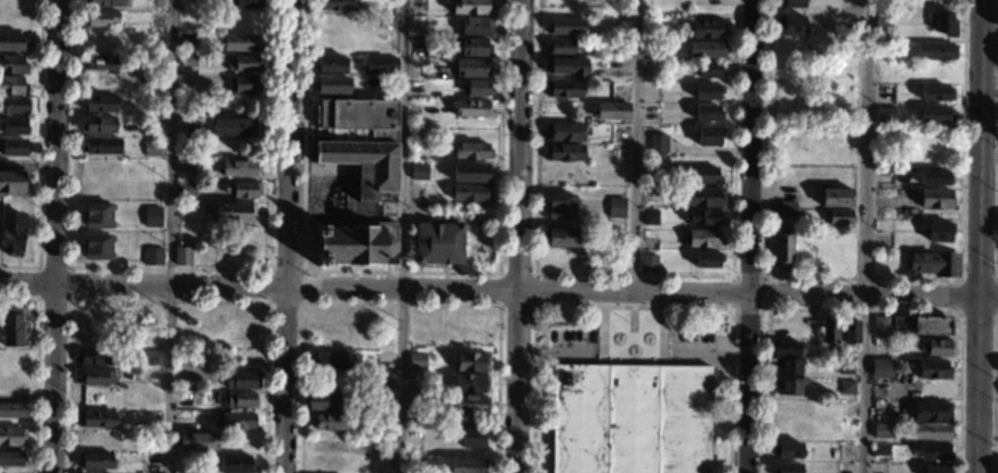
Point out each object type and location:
building: (795, 2)
building: (103, 3)
building: (244, 4)
building: (335, 4)
building: (470, 7)
building: (882, 18)
building: (99, 19)
building: (946, 20)
building: (794, 24)
building: (476, 26)
building: (565, 26)
building: (705, 28)
building: (187, 40)
building: (13, 43)
building: (240, 43)
building: (562, 46)
building: (474, 47)
building: (705, 49)
building: (935, 51)
building: (187, 60)
building: (101, 61)
building: (242, 63)
building: (12, 65)
building: (331, 65)
building: (380, 65)
building: (566, 66)
building: (470, 68)
building: (710, 70)
road: (864, 70)
building: (244, 84)
building: (331, 85)
building: (12, 86)
building: (476, 88)
building: (563, 89)
building: (708, 90)
building: (938, 91)
building: (100, 104)
building: (13, 106)
building: (471, 108)
building: (610, 111)
building: (708, 111)
building: (937, 112)
building: (885, 114)
building: (98, 125)
building: (13, 126)
building: (233, 127)
building: (192, 129)
building: (563, 131)
building: (710, 134)
road: (994, 140)
road: (287, 143)
building: (658, 143)
building: (362, 144)
road: (635, 145)
building: (100, 146)
road: (752, 146)
building: (12, 147)
building: (150, 147)
road: (982, 149)
road: (39, 151)
building: (471, 151)
building: (563, 152)
road: (27, 162)
building: (239, 169)
building: (418, 170)
building: (471, 174)
building: (650, 174)
building: (698, 175)
building: (935, 176)
building: (13, 182)
building: (242, 189)
building: (187, 190)
building: (470, 193)
building: (704, 197)
building: (835, 198)
building: (935, 198)
building: (559, 207)
building: (615, 208)
building: (787, 208)
building: (234, 213)
building: (97, 216)
building: (837, 216)
building: (151, 217)
building: (649, 217)
building: (701, 217)
road: (862, 217)
building: (940, 230)
building: (11, 235)
road: (52, 236)
road: (170, 236)
road: (403, 236)
road: (519, 236)
building: (560, 238)
building: (703, 239)
building: (356, 244)
building: (438, 244)
building: (96, 247)
building: (782, 250)
building: (183, 256)
building: (151, 257)
building: (707, 258)
building: (648, 261)
building: (935, 264)
road: (168, 266)
road: (70, 267)
road: (301, 268)
road: (402, 269)
road: (534, 272)
road: (634, 274)
road: (765, 277)
road: (864, 278)
road: (977, 278)
road: (143, 285)
road: (518, 290)
road: (995, 294)
road: (961, 295)
road: (864, 296)
road: (988, 298)
road: (166, 299)
road: (398, 302)
road: (632, 305)
road: (861, 308)
road: (977, 310)
building: (812, 322)
flagpole: (632, 323)
building: (920, 326)
building: (12, 327)
building: (880, 327)
building: (848, 330)
building: (829, 332)
road: (602, 335)
road: (661, 335)
parking lot: (572, 343)
parking lot: (697, 345)
building: (936, 348)
building: (786, 349)
road: (552, 352)
road: (711, 352)
building: (95, 357)
building: (150, 357)
building: (203, 359)
building: (223, 359)
building: (328, 360)
building: (416, 361)
building: (471, 362)
road: (568, 362)
road: (695, 363)
road: (35, 365)
building: (788, 366)
building: (844, 366)
building: (880, 367)
building: (932, 370)
building: (96, 377)
road: (285, 380)
building: (413, 380)
building: (242, 381)
building: (470, 383)
road: (748, 383)
building: (192, 384)
road: (862, 384)
road: (978, 385)
building: (788, 386)
building: (846, 387)
road: (994, 389)
road: (25, 397)
building: (239, 399)
building: (327, 401)
building: (415, 402)
building: (470, 404)
building: (879, 407)
building: (11, 411)
building: (931, 411)
building: (97, 419)
building: (630, 419)
building: (237, 422)
building: (328, 422)
building: (883, 431)
building: (932, 432)
building: (473, 436)
building: (12, 437)
building: (197, 442)
building: (382, 443)
building: (789, 448)
building: (880, 450)
building: (935, 452)
building: (10, 458)
building: (95, 461)
building: (235, 464)
building: (466, 465)
building: (788, 467)
building: (938, 468)
building: (92, 472)
building: (997, 472)

